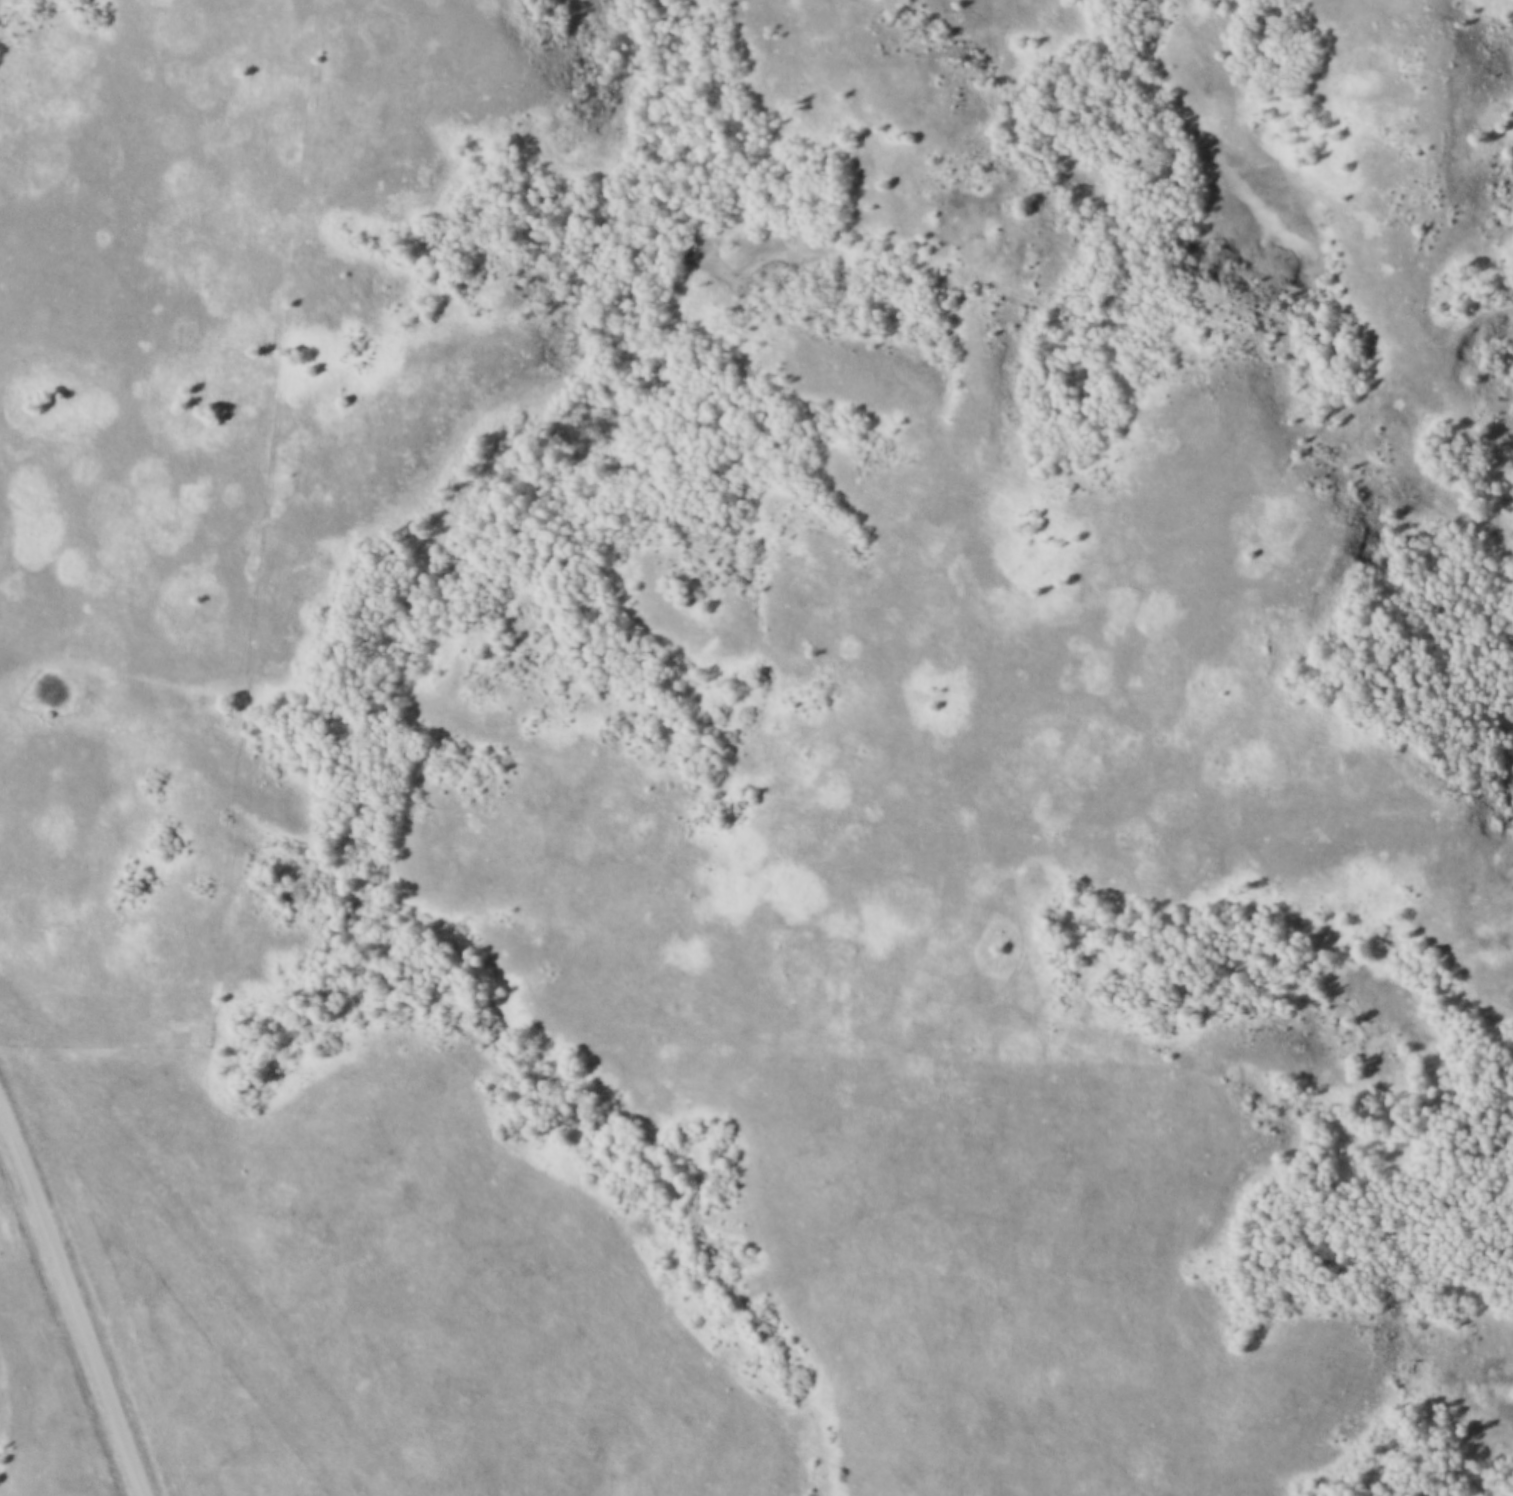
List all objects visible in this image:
road: (124, 1267)

